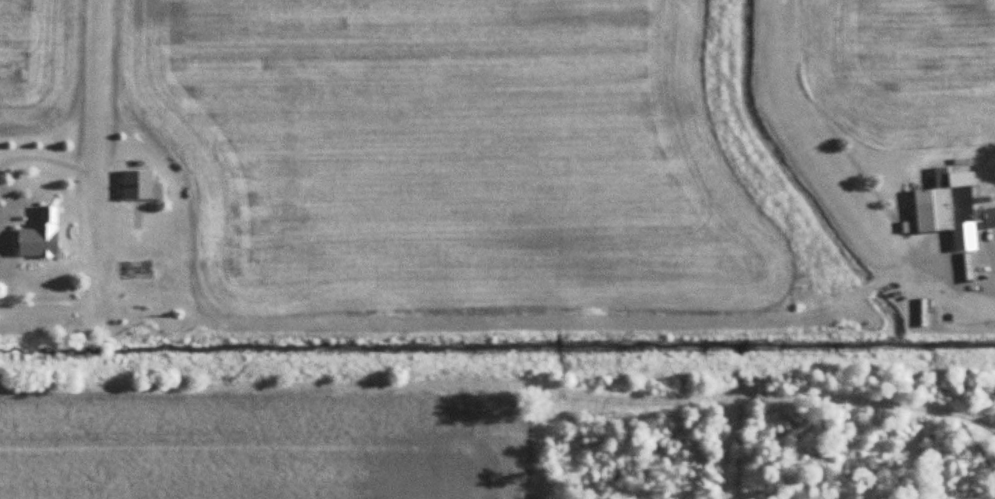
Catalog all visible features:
airport taxiway: (99, 143)
airport taxiway: (813, 150)
road: (41, 155)
building: (140, 186)
building: (956, 207)
road: (7, 211)
building: (42, 235)
road: (431, 326)

